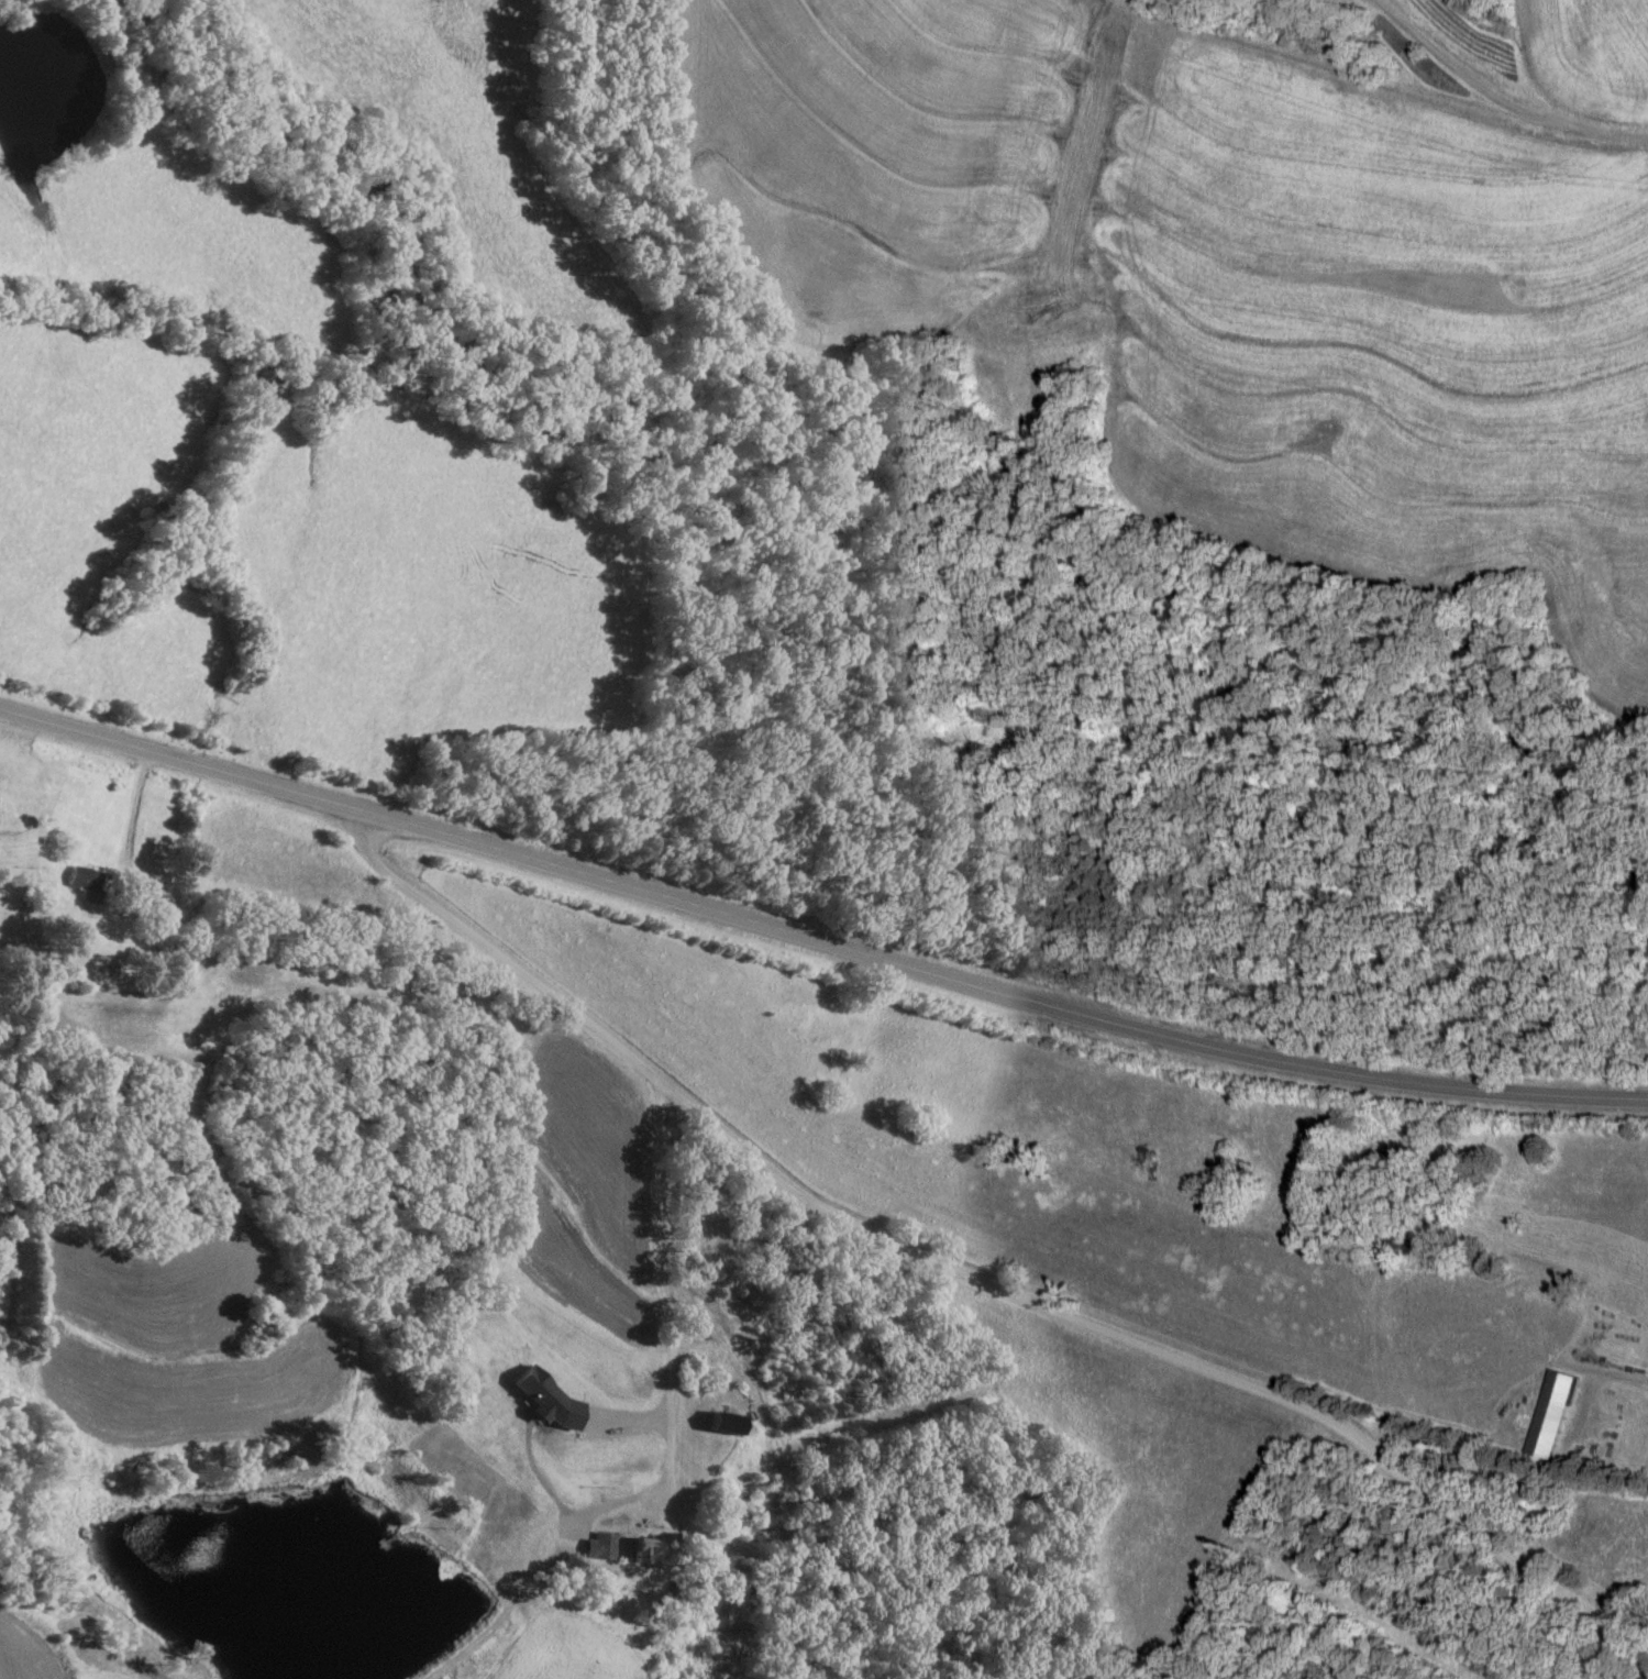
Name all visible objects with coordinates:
road: (1486, 82)
building: (86, 884)
road: (817, 939)
road: (963, 1286)
road: (654, 1297)
building: (749, 1321)
building: (1550, 1417)
building: (721, 1427)
building: (599, 1548)
building: (643, 1553)

